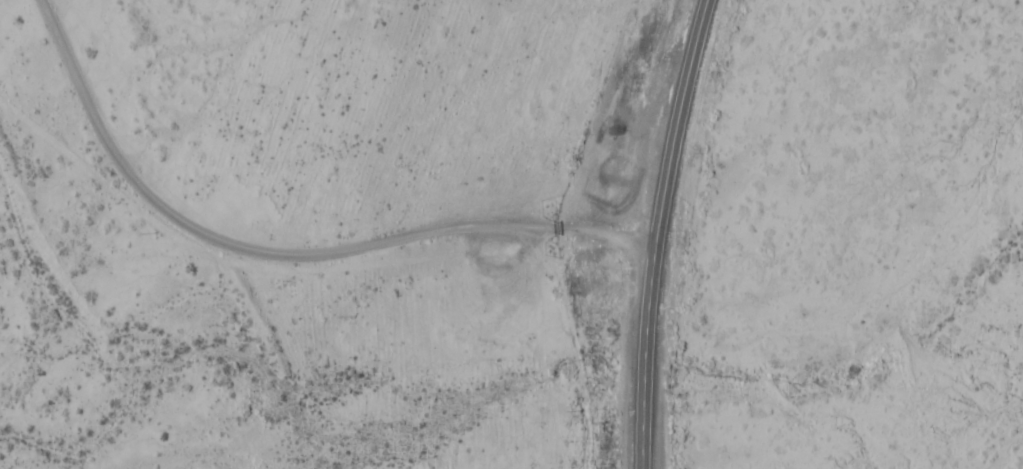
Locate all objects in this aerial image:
road: (655, 232)
road: (282, 255)
road: (496, 269)
road: (571, 350)

